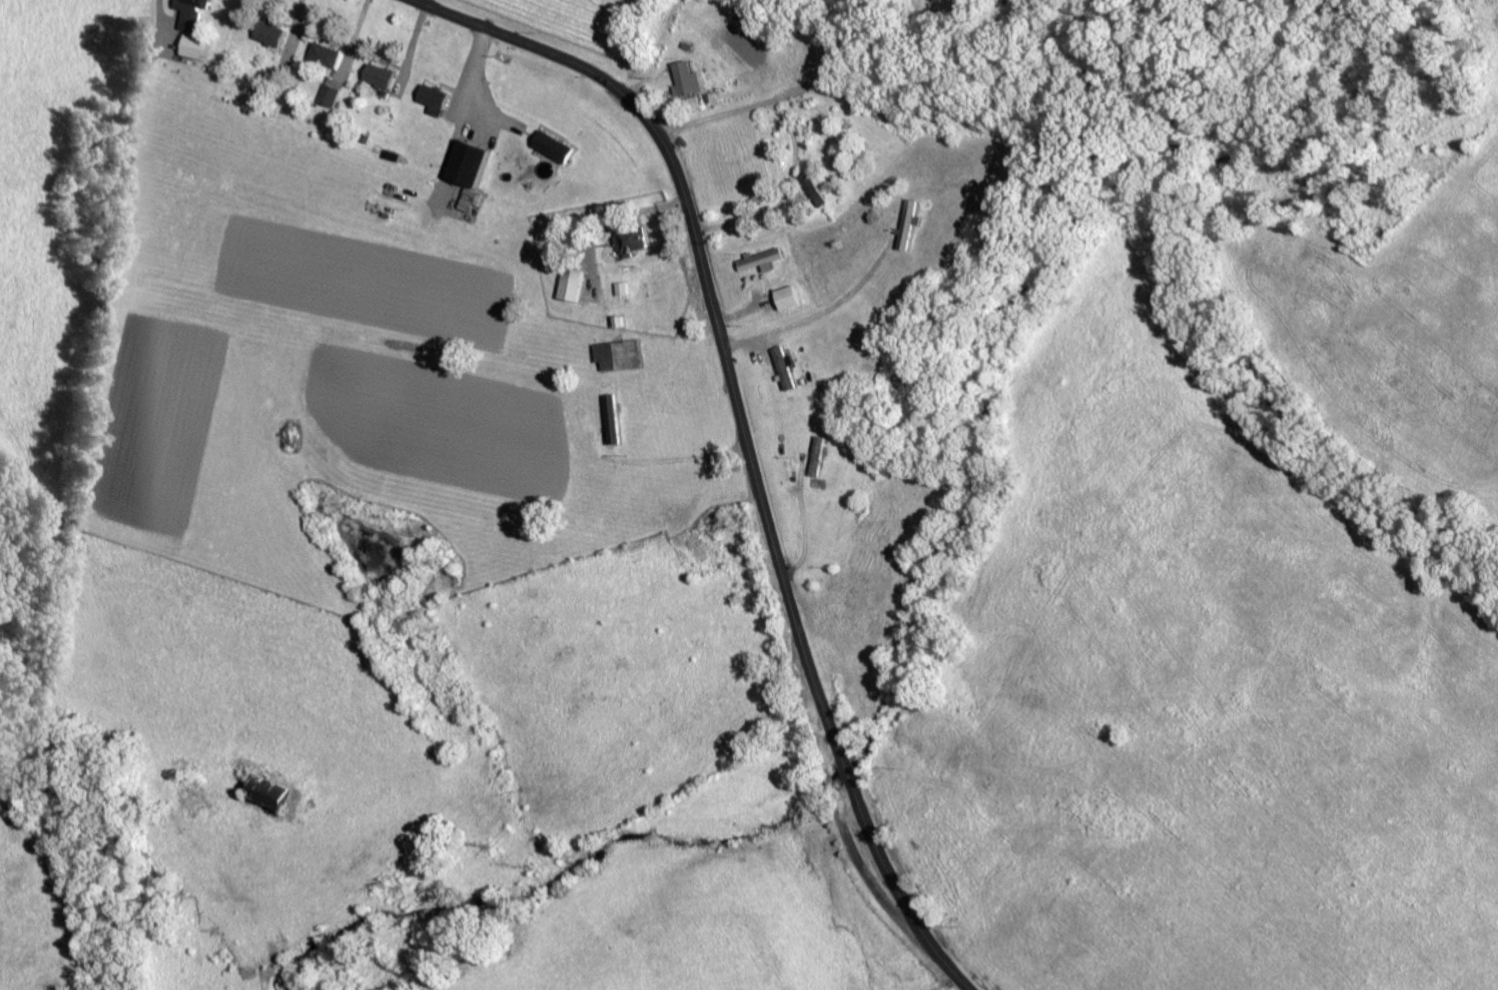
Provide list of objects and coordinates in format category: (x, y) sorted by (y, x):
building: (187, 13)
building: (266, 32)
building: (191, 45)
road: (655, 53)
building: (322, 55)
building: (376, 74)
building: (684, 78)
building: (326, 93)
road: (779, 93)
building: (431, 97)
building: (691, 101)
building: (465, 162)
building: (812, 187)
road: (783, 190)
building: (629, 238)
building: (759, 258)
building: (568, 283)
building: (783, 296)
building: (614, 353)
building: (781, 366)
road: (743, 437)
building: (815, 455)
road: (1215, 660)
building: (264, 790)

